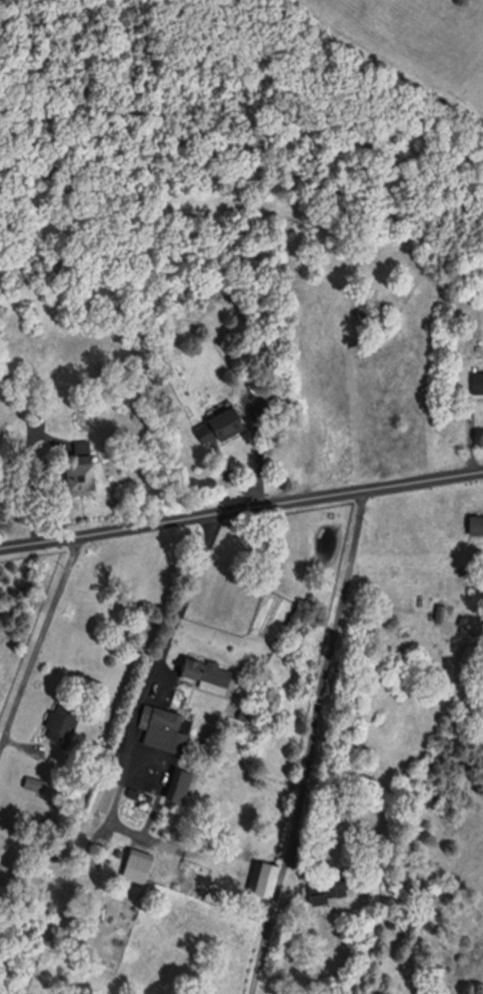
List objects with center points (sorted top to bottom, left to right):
road: (31, 484)
road: (241, 509)
road: (187, 598)
road: (40, 645)
road: (327, 743)

